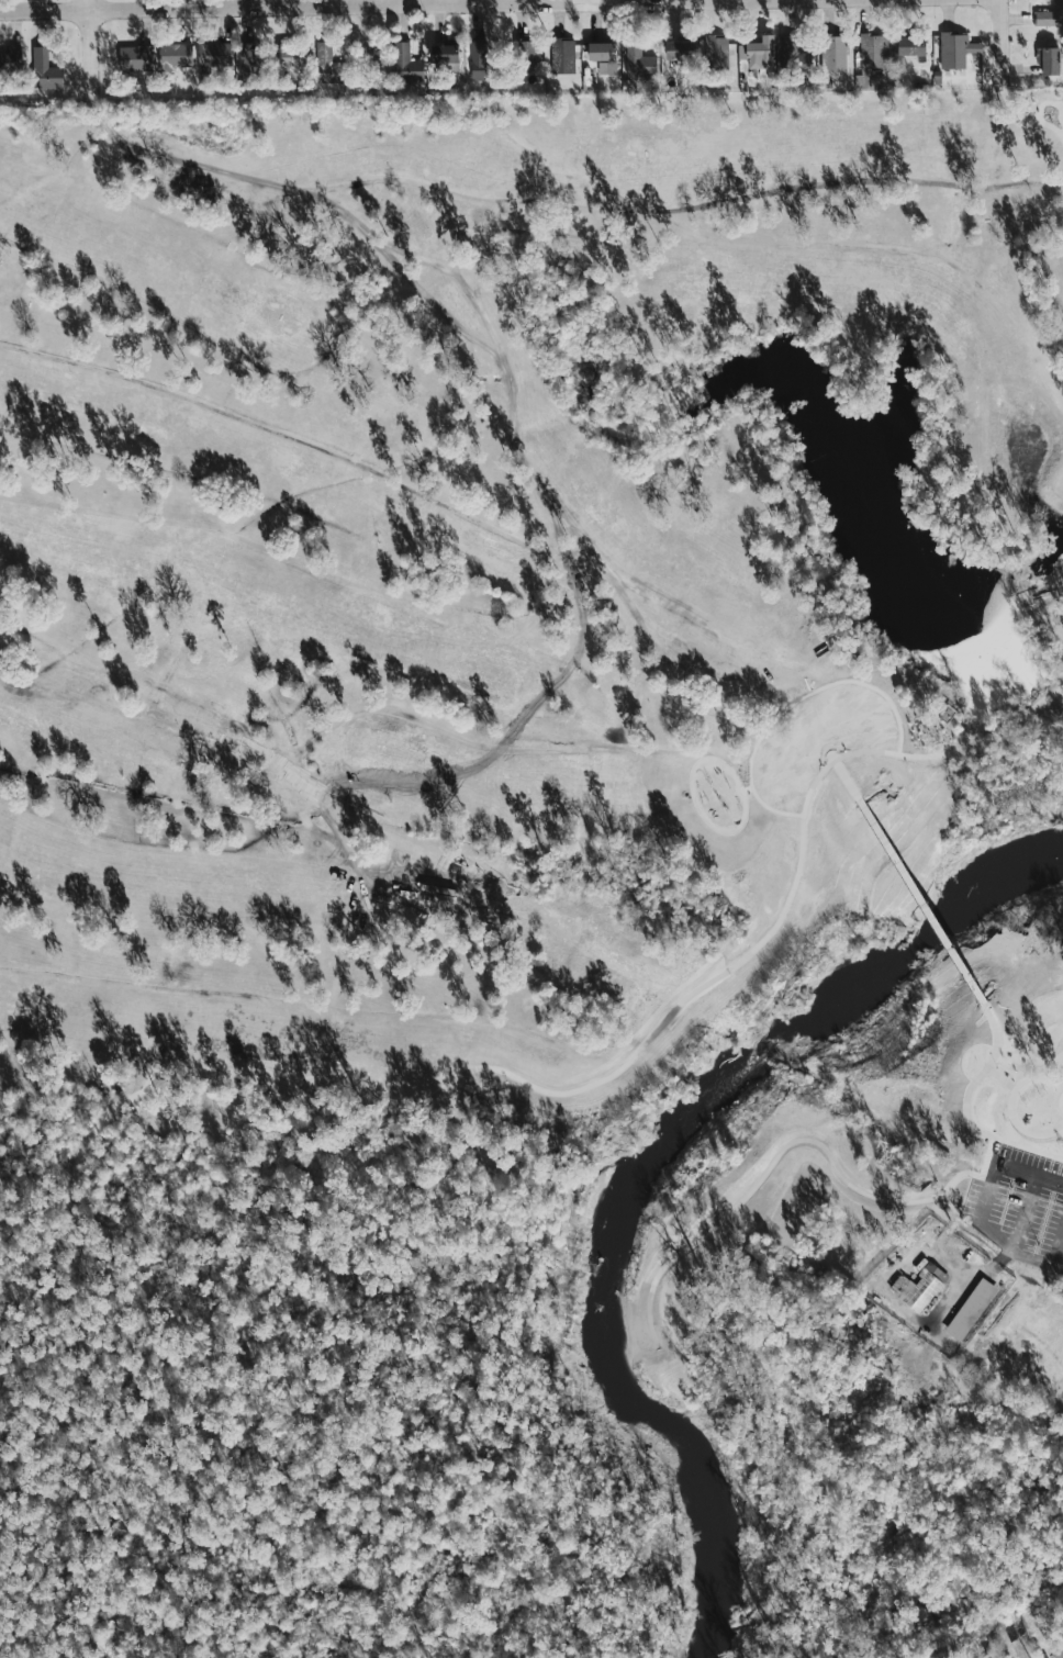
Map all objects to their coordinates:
road: (806, 0)
road: (628, 1)
road: (452, 3)
road: (270, 4)
road: (435, 7)
building: (1039, 19)
road: (998, 42)
road: (91, 44)
building: (903, 47)
building: (952, 51)
building: (866, 52)
building: (594, 53)
building: (290, 54)
building: (445, 54)
building: (713, 54)
building: (752, 54)
building: (829, 54)
building: (215, 55)
building: (526, 55)
building: (175, 56)
building: (560, 57)
building: (634, 57)
building: (135, 58)
building: (249, 61)
building: (480, 61)
building: (11, 63)
building: (1043, 63)
building: (406, 64)
building: (328, 65)
building: (44, 69)
building: (637, 71)
road: (1055, 105)
road: (1026, 120)
road: (1043, 594)
road: (794, 703)
road: (849, 780)
park: (527, 866)
road: (925, 901)
road: (991, 1012)
road: (662, 1020)
road: (1003, 1078)
road: (1010, 1107)
road: (969, 1118)
road: (775, 1160)
road: (987, 1161)
road: (1026, 1167)
river: (644, 1170)
building: (916, 1288)
building: (966, 1310)
road: (112, 1351)
building: (1054, 1653)

